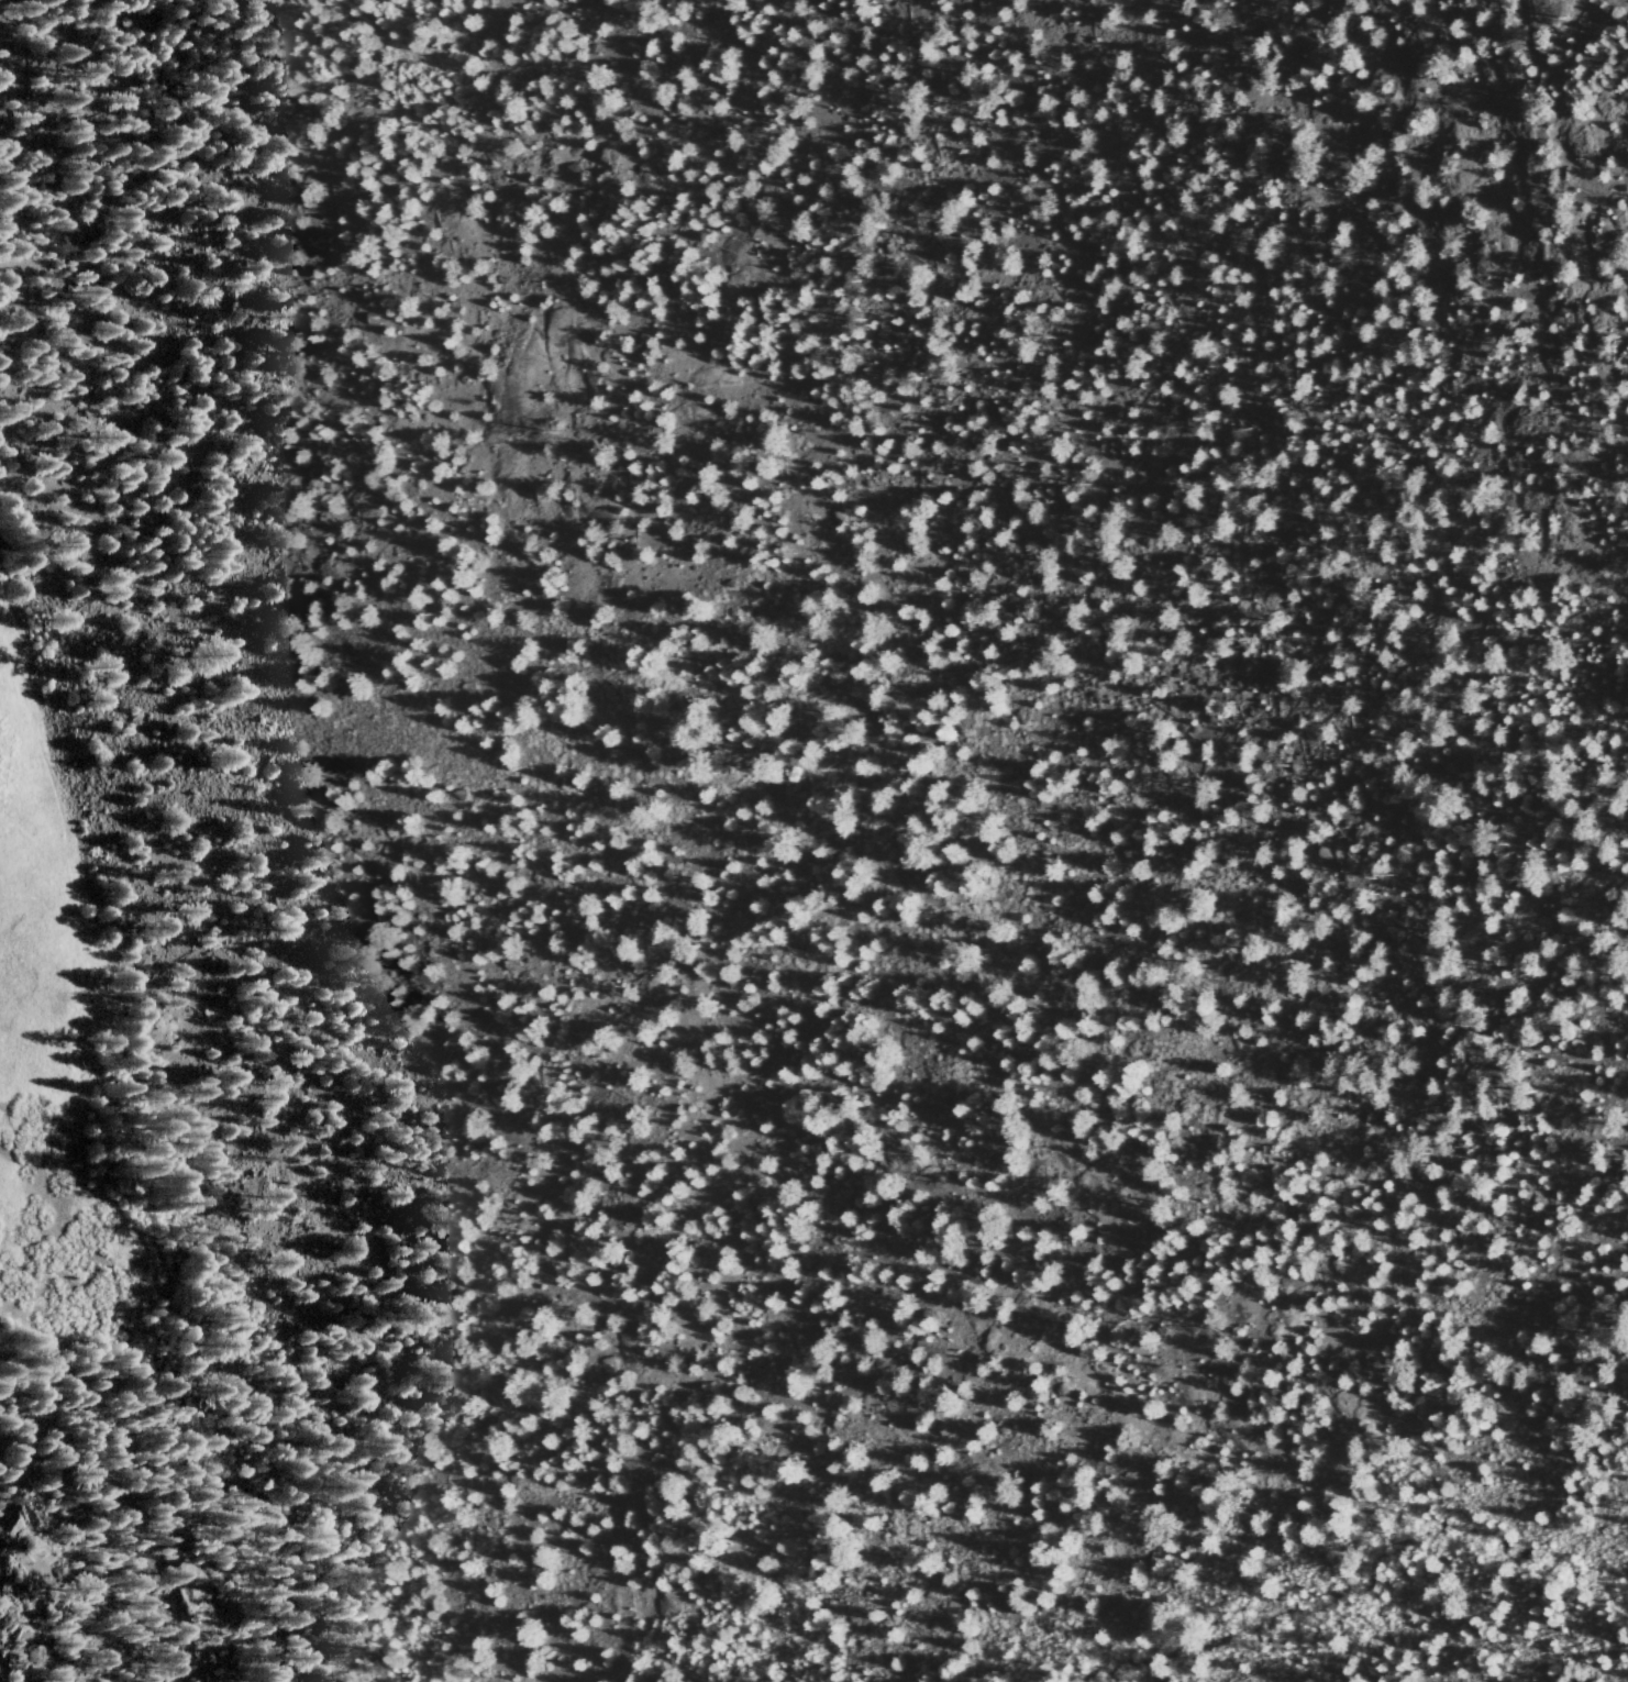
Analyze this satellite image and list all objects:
road: (67, 1161)

